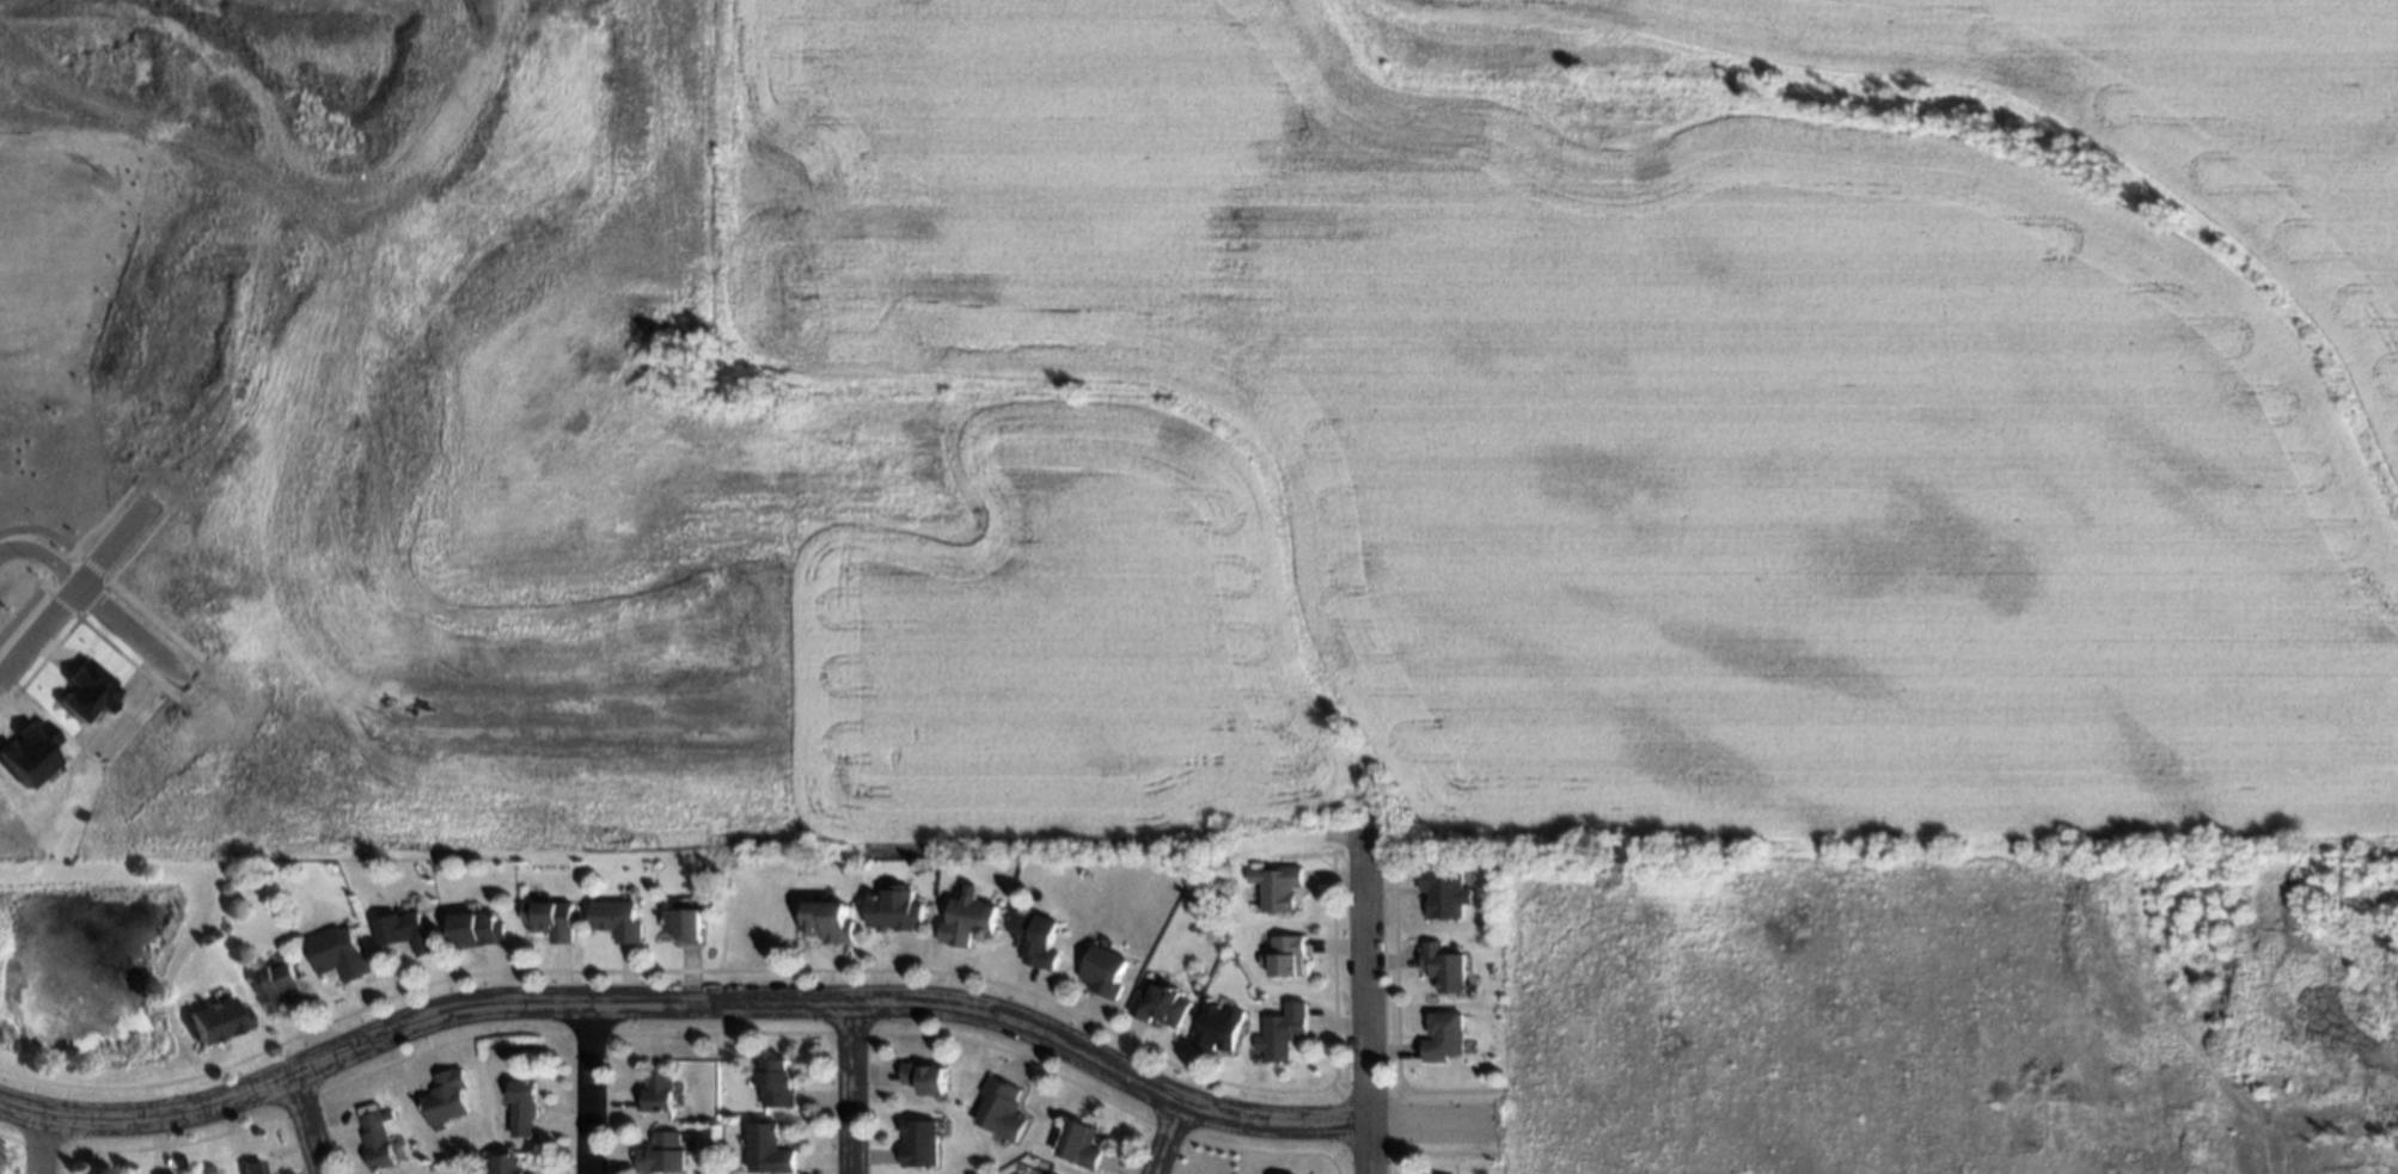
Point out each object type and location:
road: (313, 233)
road: (44, 554)
road: (81, 587)
building: (90, 692)
road: (412, 722)
building: (31, 753)
building: (1279, 886)
building: (1446, 891)
building: (897, 907)
building: (550, 917)
building: (616, 918)
building: (828, 919)
building: (967, 919)
building: (685, 923)
building: (477, 929)
building: (406, 930)
building: (1038, 938)
building: (339, 953)
building: (1286, 953)
building: (1443, 965)
building: (1103, 970)
building: (275, 985)
building: (1161, 1002)
road: (1368, 1002)
road: (744, 1004)
building: (218, 1020)
building: (1217, 1025)
building: (1281, 1033)
building: (1444, 1035)
building: (924, 1075)
building: (777, 1080)
road: (583, 1089)
road: (851, 1089)
building: (655, 1090)
building: (447, 1095)
building: (1001, 1106)
building: (522, 1107)
road: (307, 1124)
road: (1168, 1137)
building: (377, 1138)
building: (918, 1141)
building: (1079, 1142)
road: (41, 1144)
building: (770, 1147)
building: (660, 1151)
building: (508, 1163)
building: (252, 1166)
building: (167, 1172)
building: (1047, 1173)

